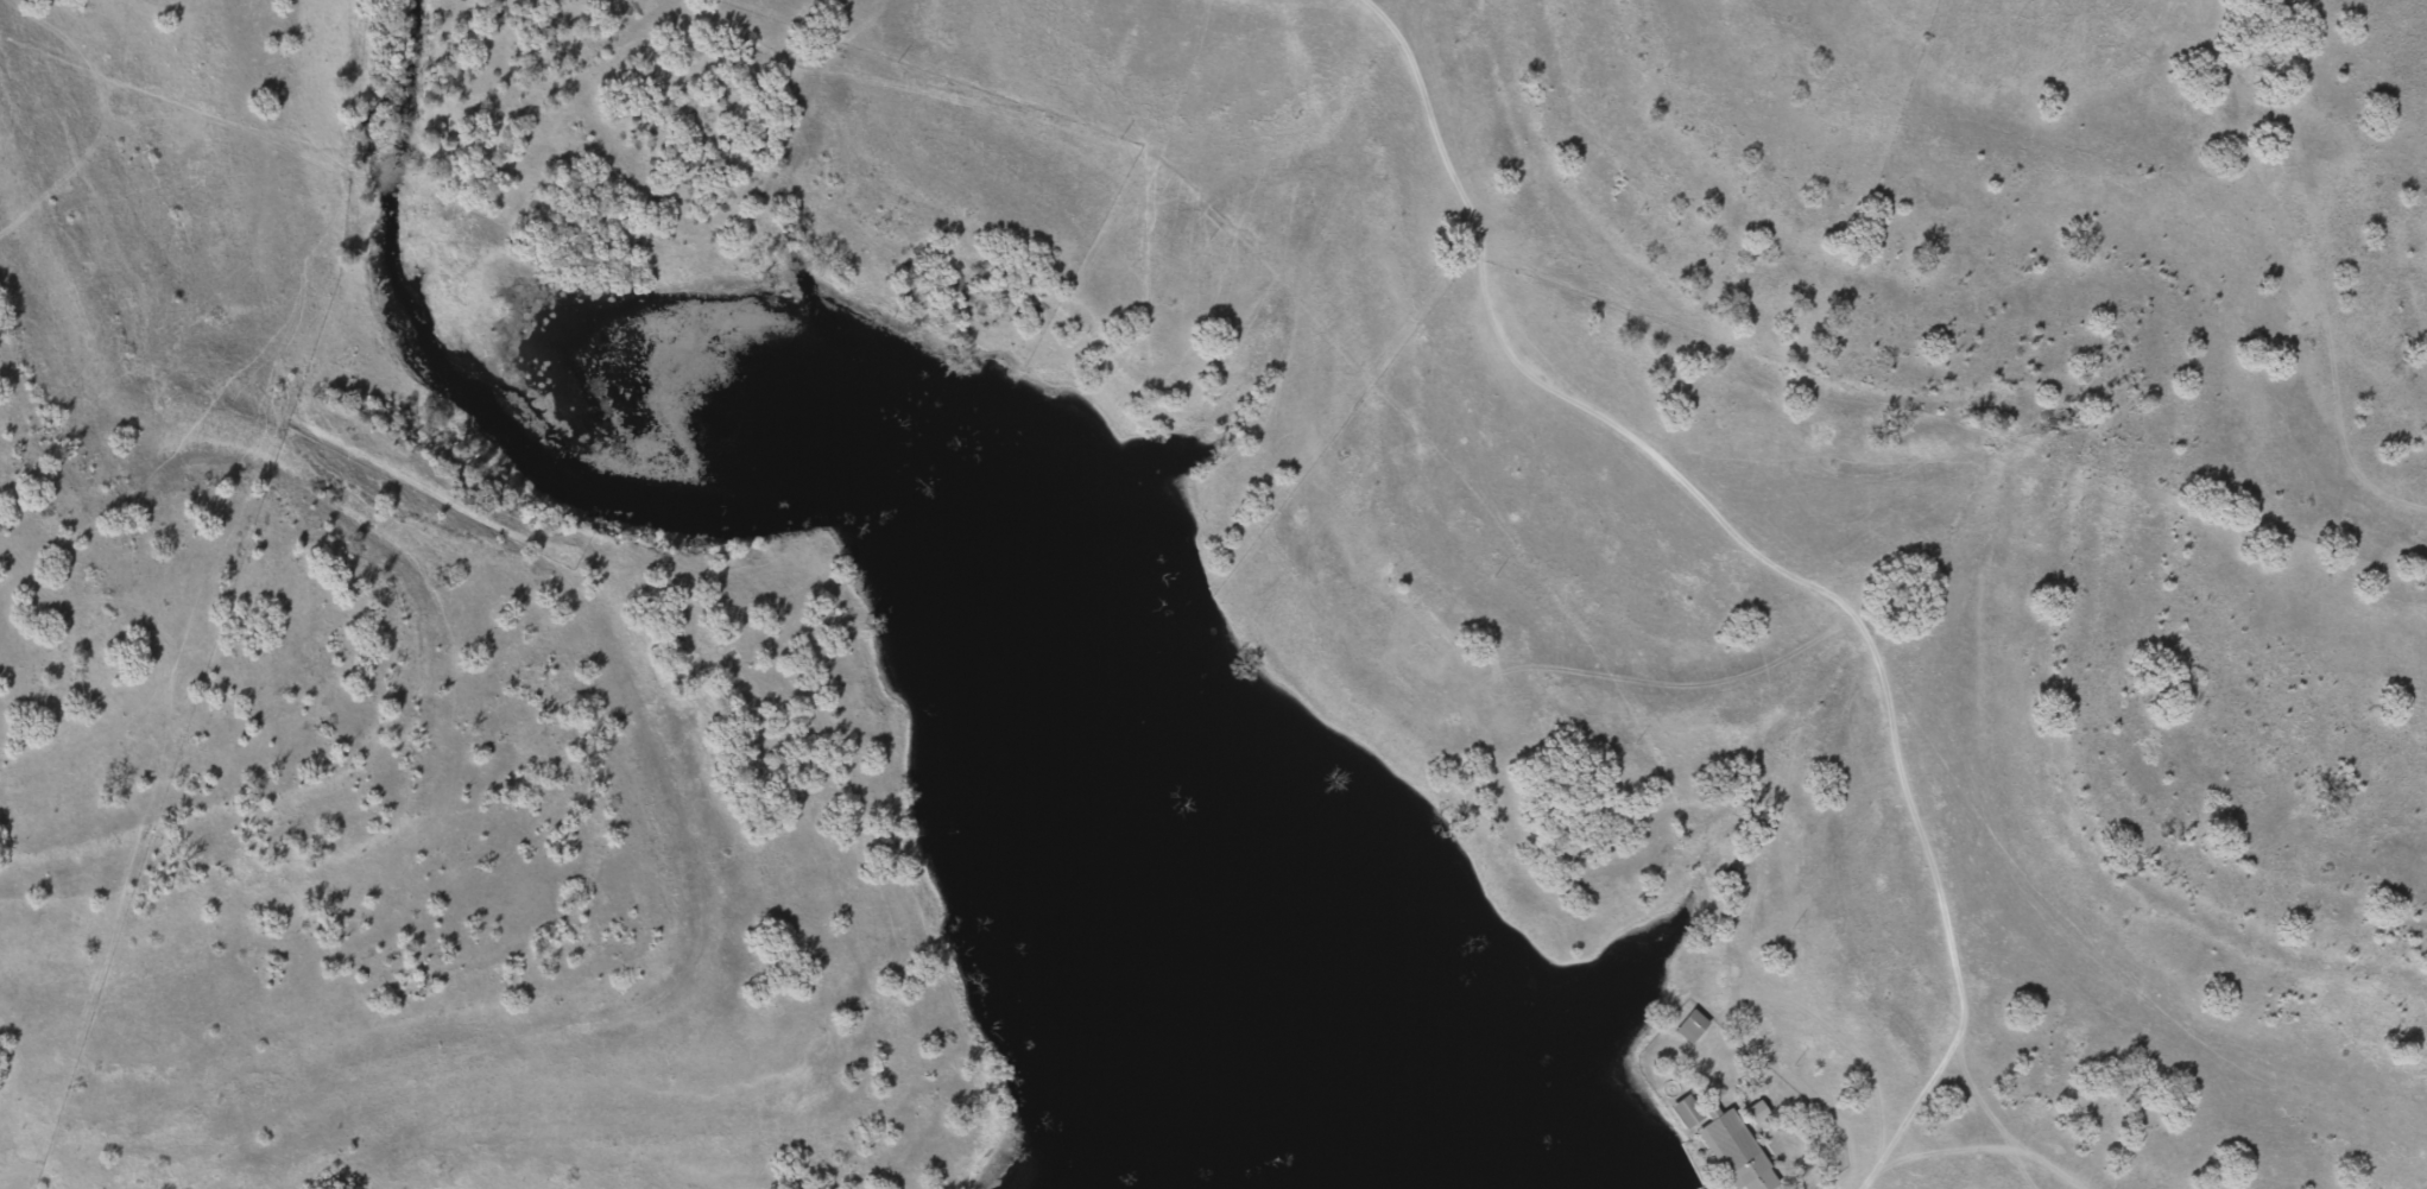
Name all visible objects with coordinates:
building: (1692, 1025)
building: (1688, 1111)
building: (1738, 1152)

